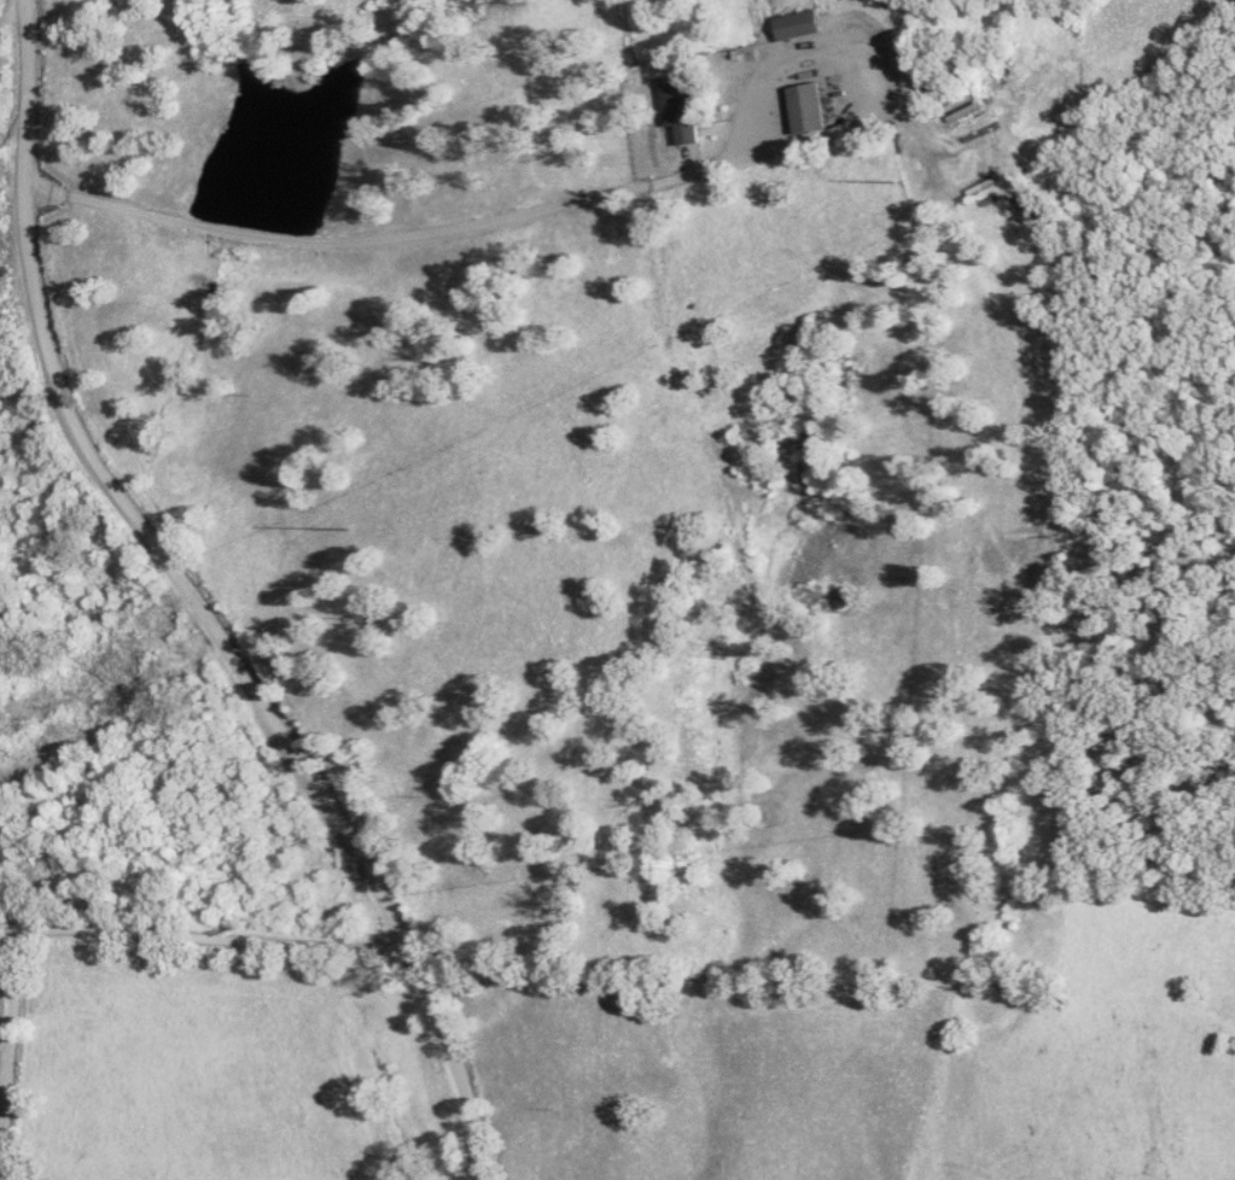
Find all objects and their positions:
building: (799, 25)
building: (810, 107)
building: (678, 109)
road: (410, 235)
road: (198, 602)
road: (208, 935)
road: (5, 942)
road: (8, 1062)

